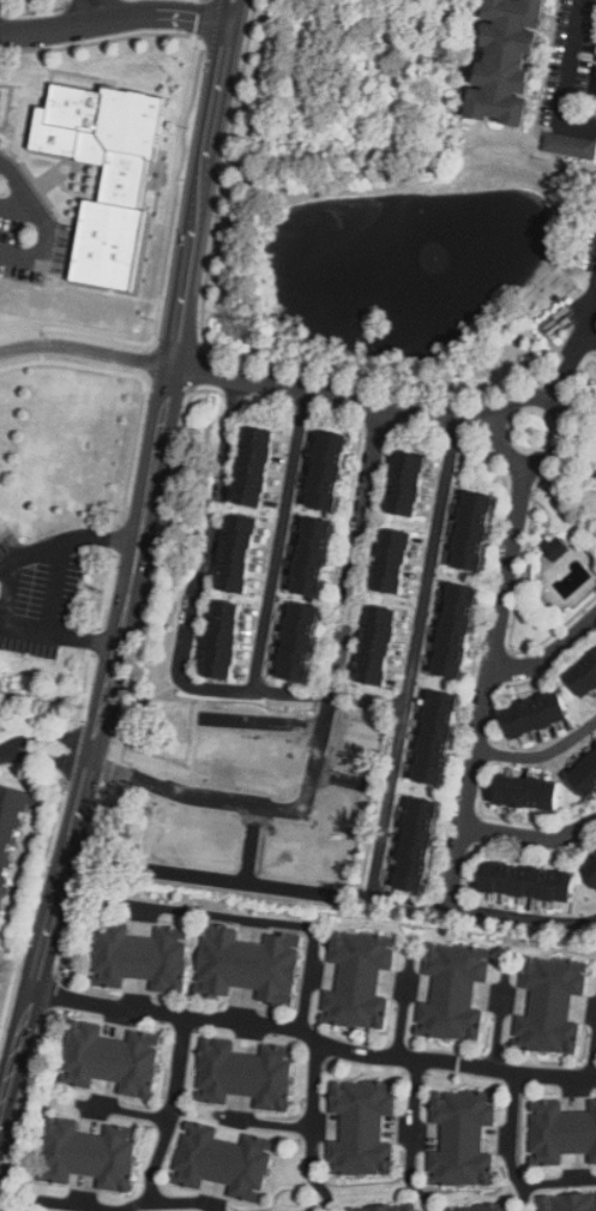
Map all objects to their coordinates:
road: (106, 10)
road: (80, 12)
road: (115, 18)
road: (201, 18)
building: (501, 62)
road: (567, 77)
building: (595, 95)
building: (570, 144)
road: (225, 176)
building: (124, 181)
road: (176, 190)
road: (19, 209)
road: (47, 224)
fountain: (432, 262)
building: (550, 293)
road: (591, 318)
road: (590, 337)
road: (85, 346)
road: (564, 370)
road: (198, 371)
road: (335, 392)
road: (553, 414)
road: (134, 450)
building: (249, 472)
building: (321, 475)
building: (595, 479)
building: (416, 486)
building: (401, 490)
road: (116, 538)
building: (469, 538)
road: (275, 541)
road: (67, 544)
building: (550, 552)
building: (233, 559)
building: (305, 559)
road: (137, 562)
building: (387, 564)
road: (55, 589)
road: (106, 590)
road: (6, 594)
road: (58, 634)
building: (448, 635)
road: (96, 642)
building: (218, 642)
building: (290, 646)
building: (374, 648)
road: (549, 657)
building: (582, 678)
road: (132, 685)
road: (86, 687)
road: (488, 687)
road: (249, 696)
building: (530, 718)
road: (263, 719)
building: (433, 741)
road: (47, 749)
road: (73, 751)
building: (241, 755)
road: (541, 756)
road: (387, 767)
building: (584, 775)
building: (519, 798)
road: (247, 799)
building: (215, 808)
building: (8, 833)
road: (530, 840)
road: (252, 841)
building: (189, 844)
building: (413, 844)
building: (299, 858)
building: (591, 874)
road: (240, 881)
building: (519, 886)
road: (32, 907)
road: (266, 925)
road: (22, 951)
building: (134, 960)
building: (243, 971)
building: (357, 985)
building: (457, 990)
road: (52, 994)
building: (548, 1012)
road: (401, 1018)
road: (496, 1029)
road: (314, 1037)
road: (592, 1053)
building: (107, 1057)
building: (241, 1074)
road: (2, 1095)
road: (23, 1101)
road: (173, 1110)
road: (126, 1115)
road: (266, 1127)
road: (311, 1128)
building: (355, 1131)
building: (462, 1137)
building: (556, 1137)
road: (408, 1140)
road: (507, 1143)
building: (90, 1161)
building: (221, 1168)
road: (554, 1187)
building: (568, 1203)
road: (60, 1205)
road: (185, 1205)
road: (138, 1207)
building: (385, 1209)
building: (498, 1210)

